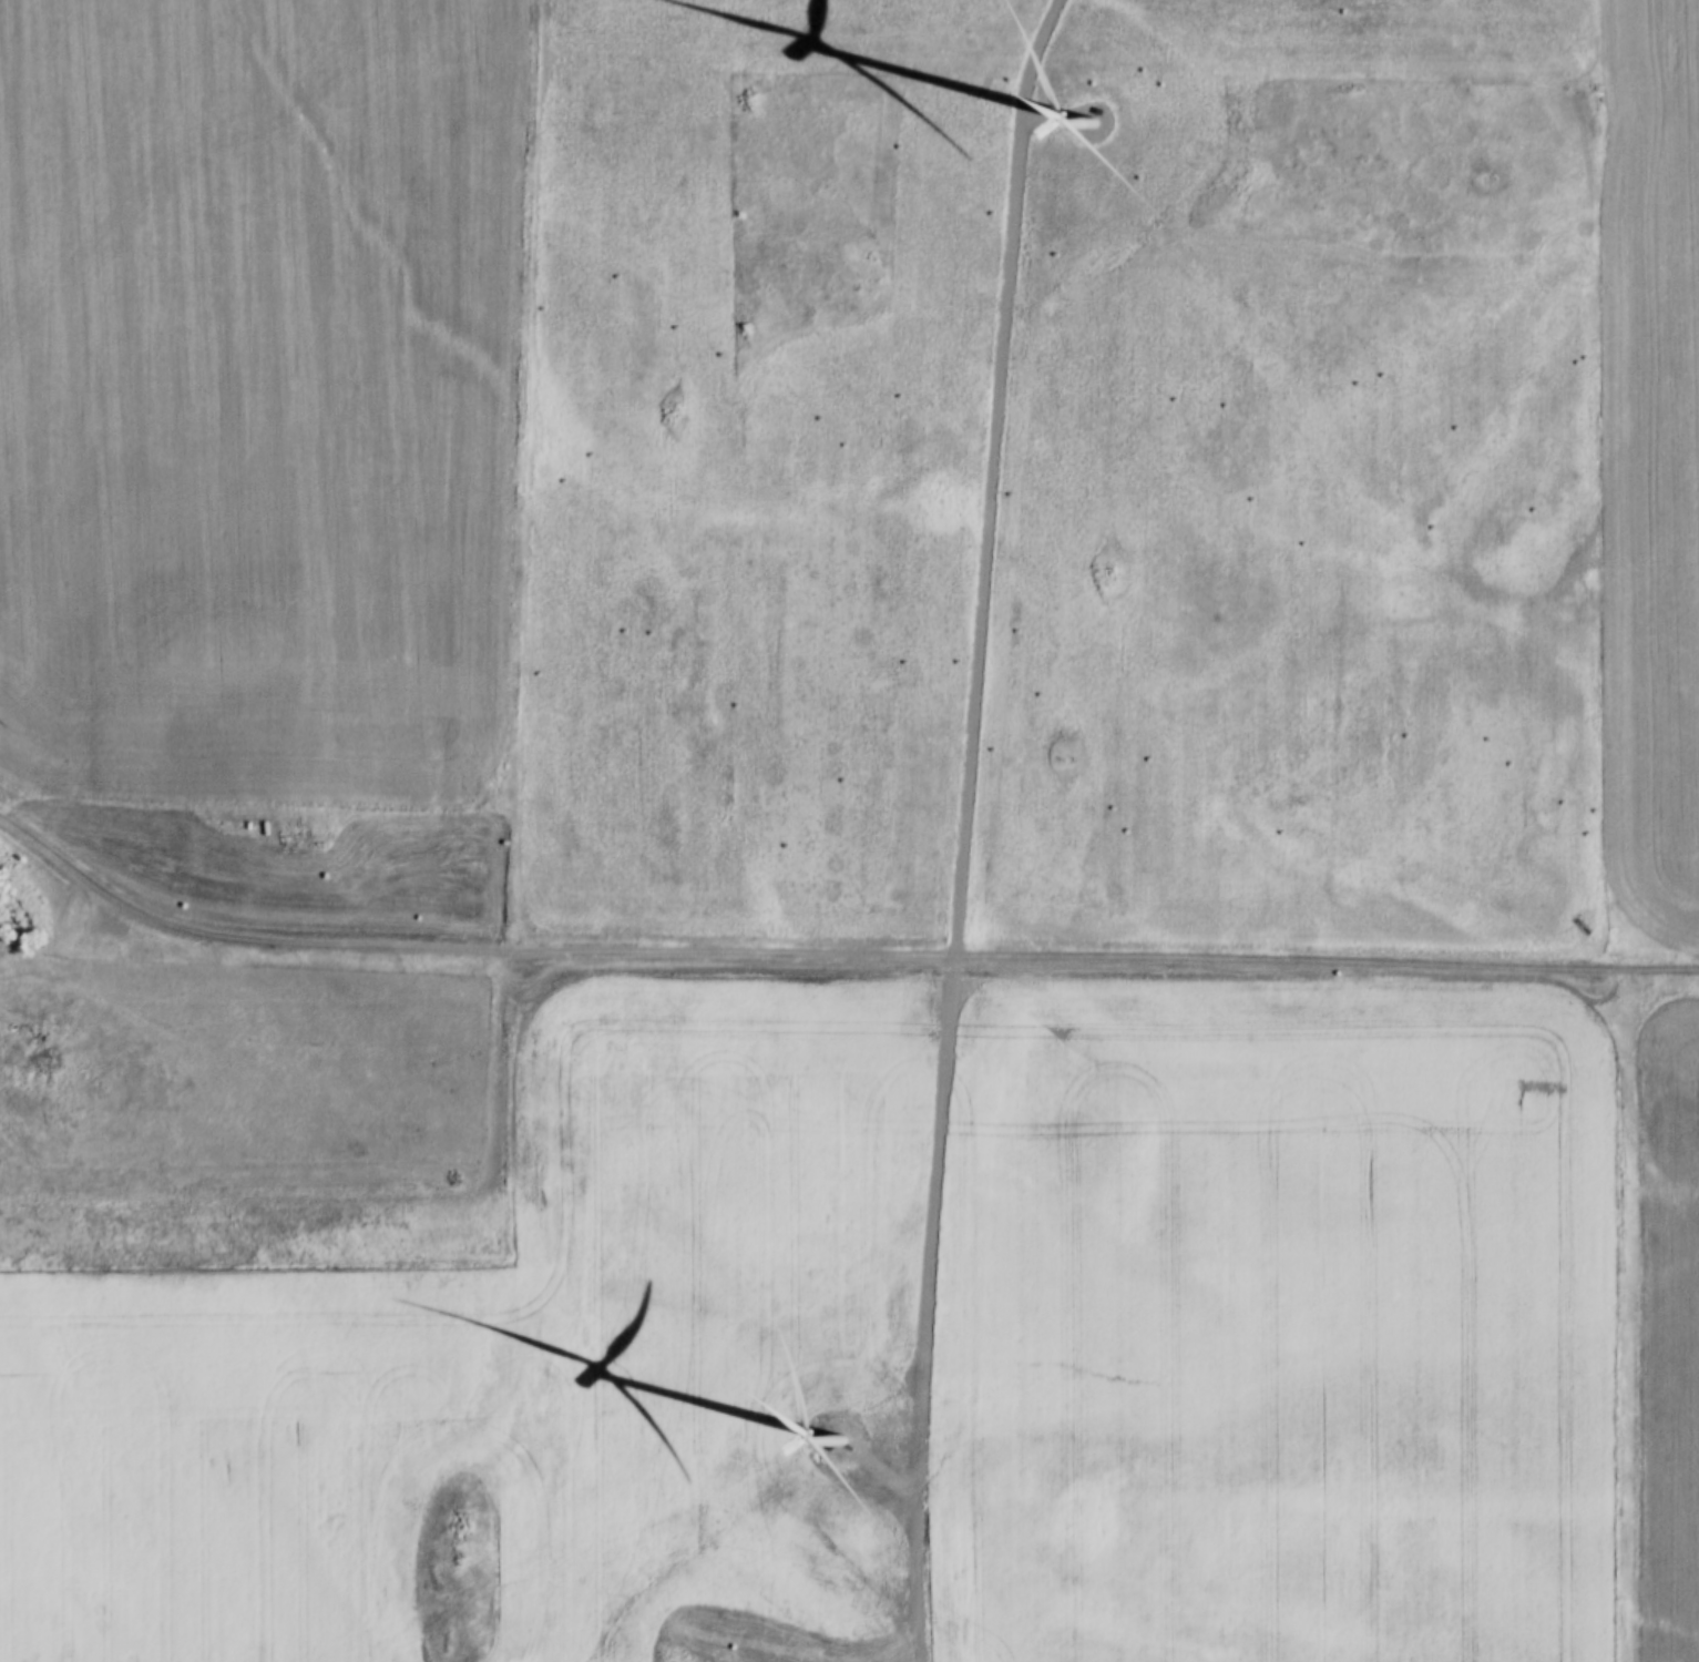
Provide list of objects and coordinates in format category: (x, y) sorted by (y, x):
wind turbine: (1088, 128)
road: (832, 954)
wind turbine: (839, 1439)

